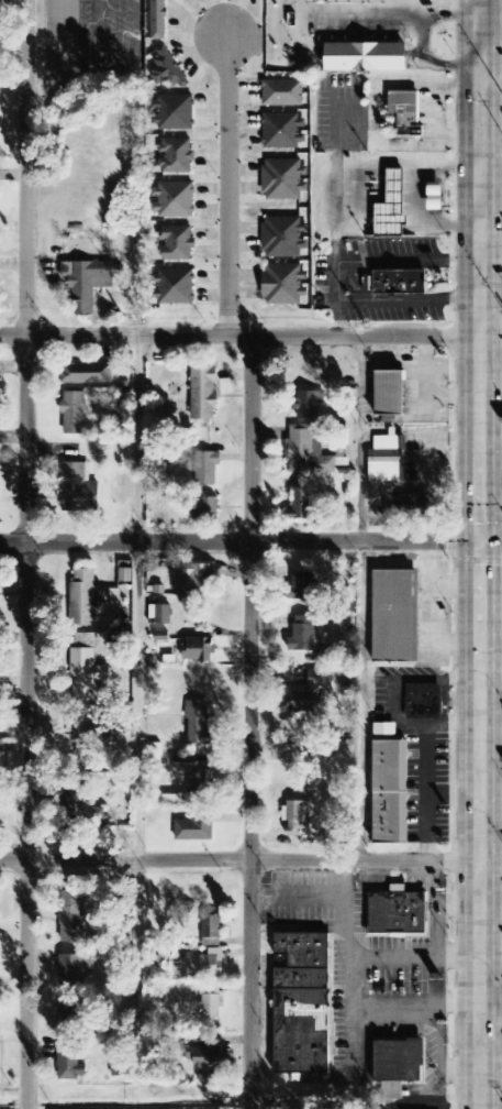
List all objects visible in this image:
building: (159, 20)
building: (368, 57)
building: (168, 70)
road: (492, 88)
building: (283, 94)
building: (405, 106)
building: (175, 113)
road: (492, 116)
building: (286, 131)
building: (177, 156)
building: (285, 180)
road: (228, 185)
building: (174, 200)
building: (391, 204)
building: (286, 238)
building: (175, 242)
building: (400, 281)
building: (88, 283)
building: (287, 284)
building: (174, 287)
road: (241, 334)
road: (492, 336)
building: (87, 374)
building: (390, 393)
building: (204, 394)
building: (310, 405)
building: (75, 414)
building: (306, 452)
building: (388, 460)
building: (210, 468)
building: (78, 487)
building: (301, 505)
building: (420, 505)
building: (207, 508)
road: (241, 542)
traffic signals: (483, 545)
road: (492, 545)
road: (27, 553)
road: (482, 553)
building: (125, 575)
building: (198, 578)
building: (304, 586)
building: (85, 600)
building: (394, 616)
building: (163, 622)
building: (304, 635)
building: (201, 650)
building: (87, 674)
building: (308, 694)
building: (425, 703)
road: (253, 721)
building: (199, 724)
building: (386, 729)
building: (85, 735)
building: (301, 761)
building: (196, 776)
building: (391, 792)
building: (83, 814)
building: (297, 817)
building: (194, 831)
road: (241, 865)
road: (492, 866)
building: (90, 905)
building: (399, 913)
building: (72, 918)
building: (212, 931)
building: (208, 965)
building: (75, 971)
building: (212, 1002)
building: (304, 1004)
building: (74, 1014)
building: (204, 1058)
building: (71, 1065)
building: (399, 1065)
building: (289, 1108)

